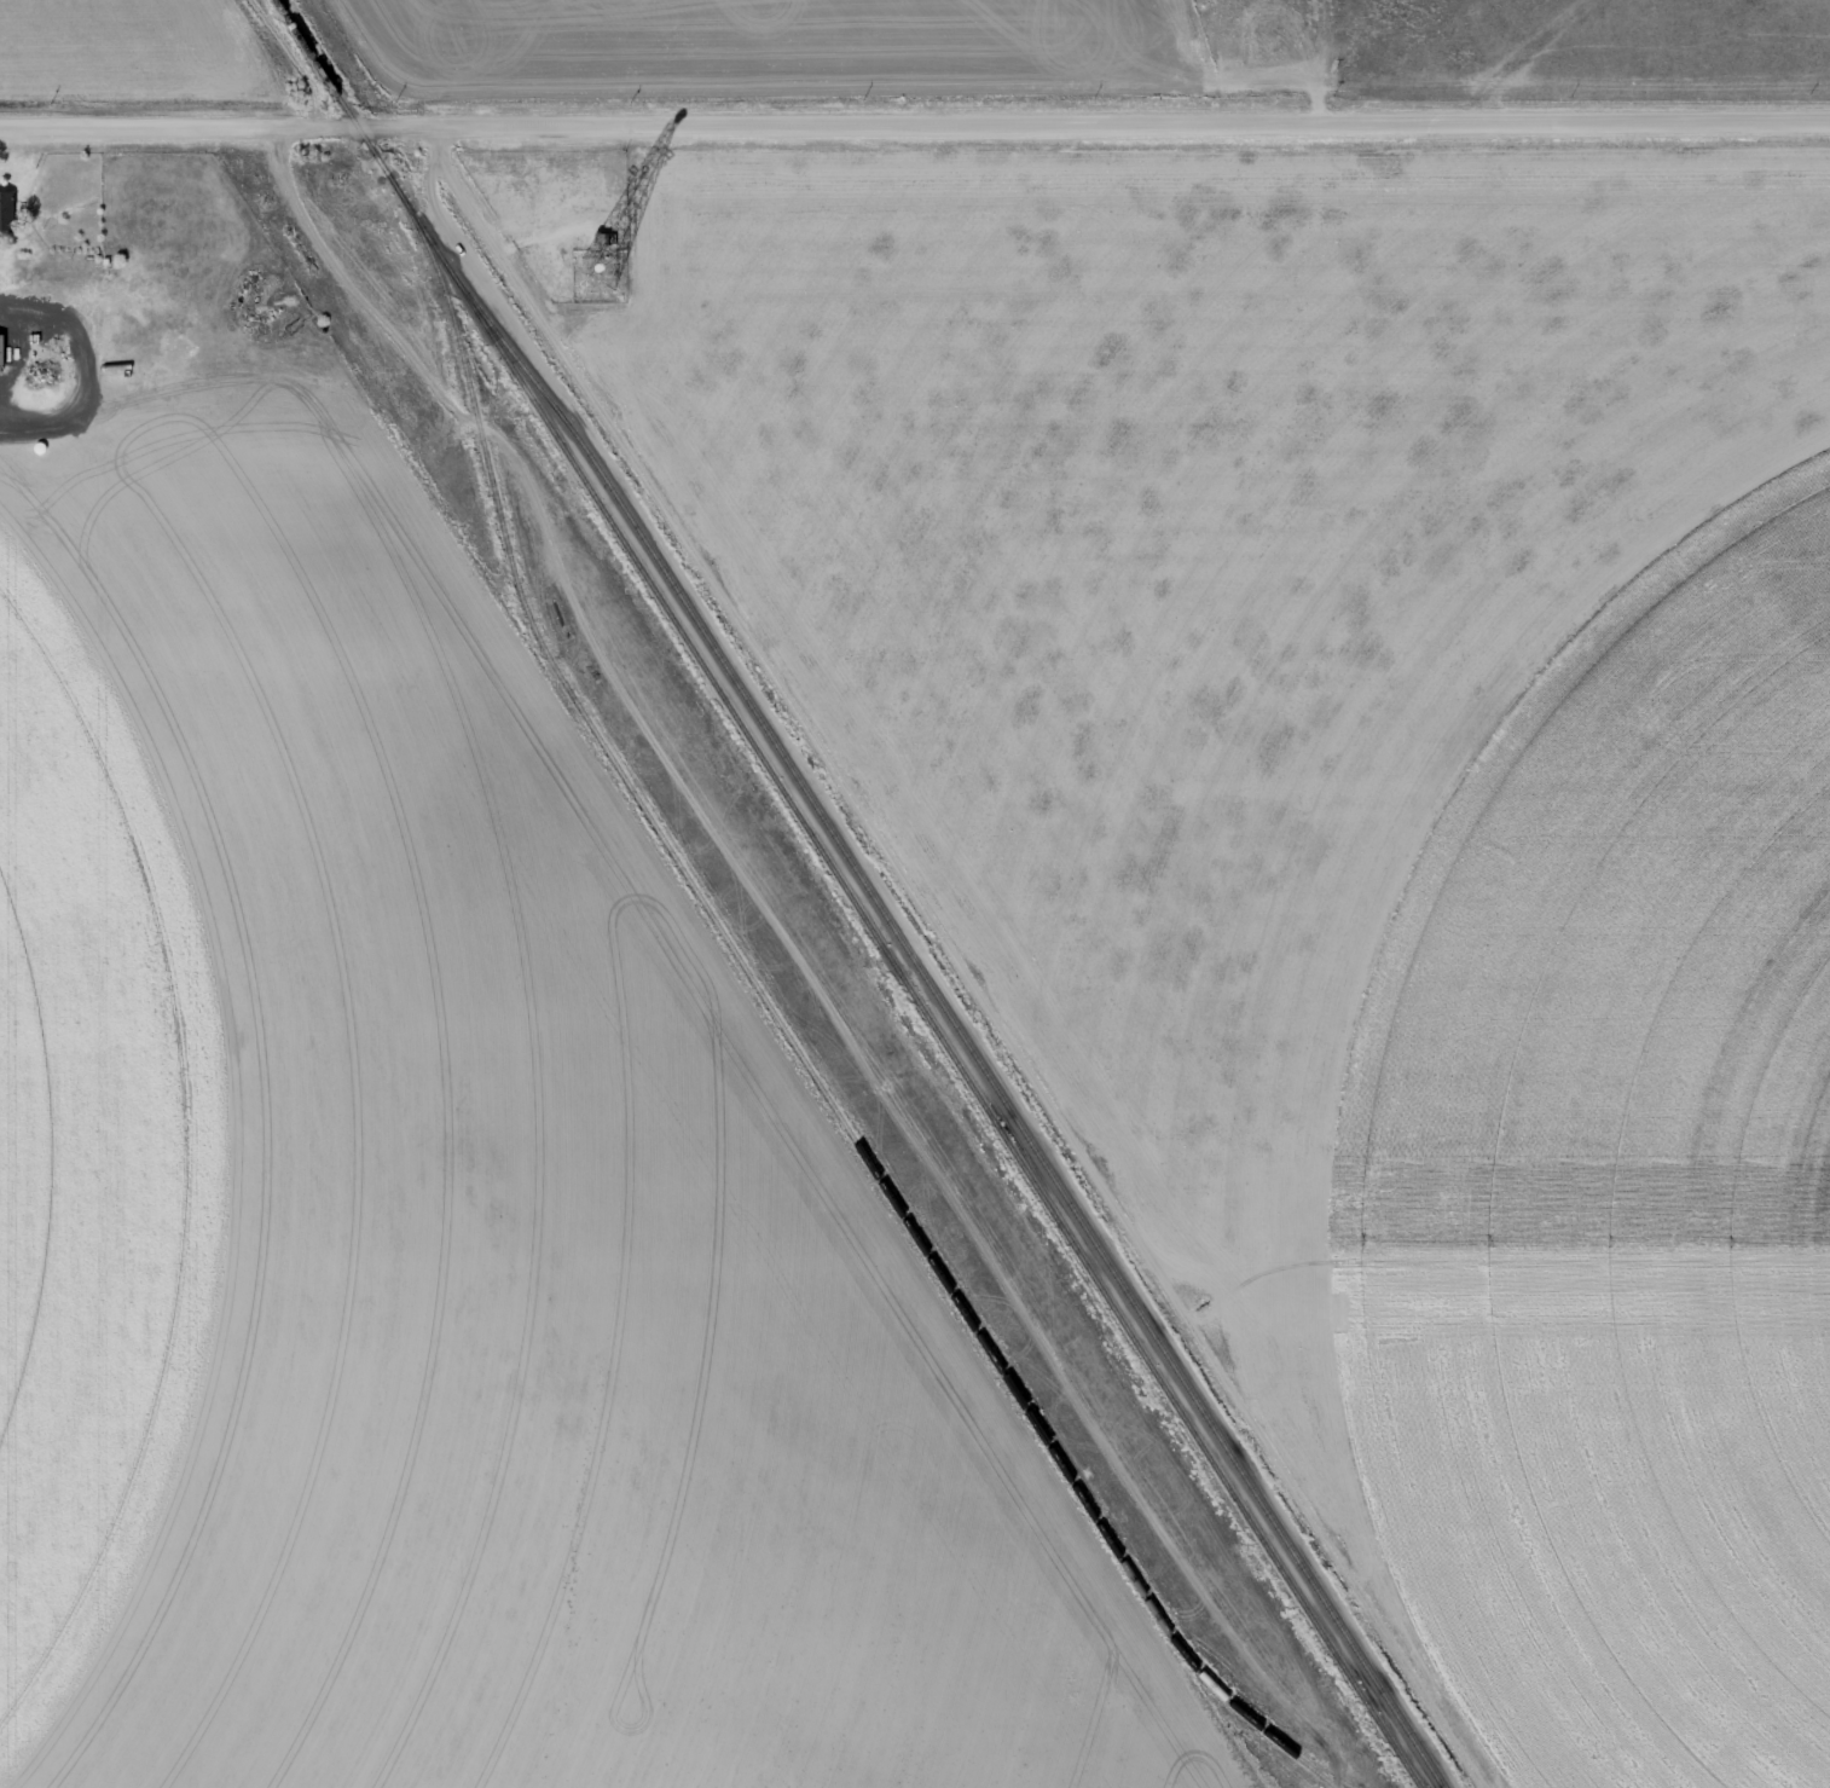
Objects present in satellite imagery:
road: (1093, 122)
road: (178, 127)
railway: (847, 893)
railway: (954, 1018)
railway: (781, 1026)

